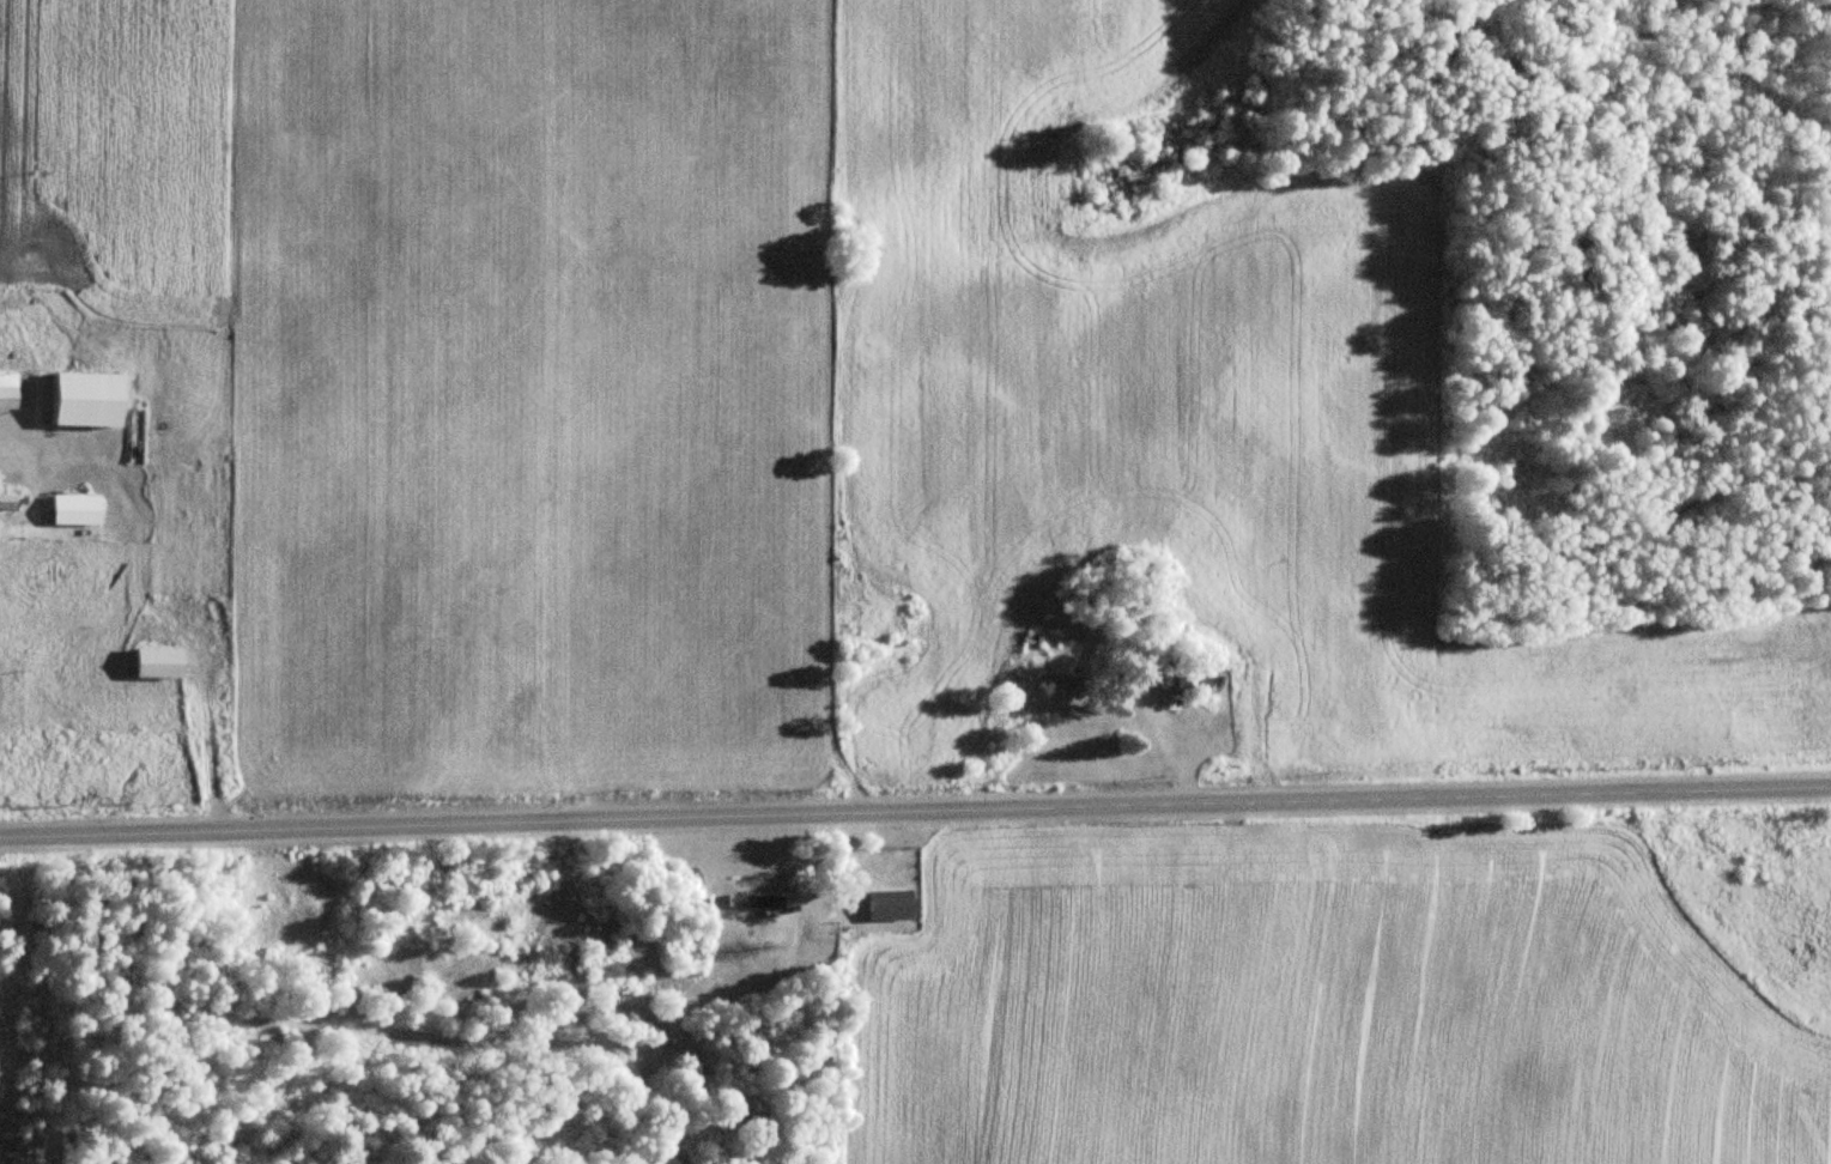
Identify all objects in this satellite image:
building: (7, 392)
building: (87, 400)
road: (6, 430)
building: (7, 498)
building: (75, 511)
building: (158, 665)
building: (1193, 685)
road: (915, 823)
building: (753, 899)
building: (889, 904)

